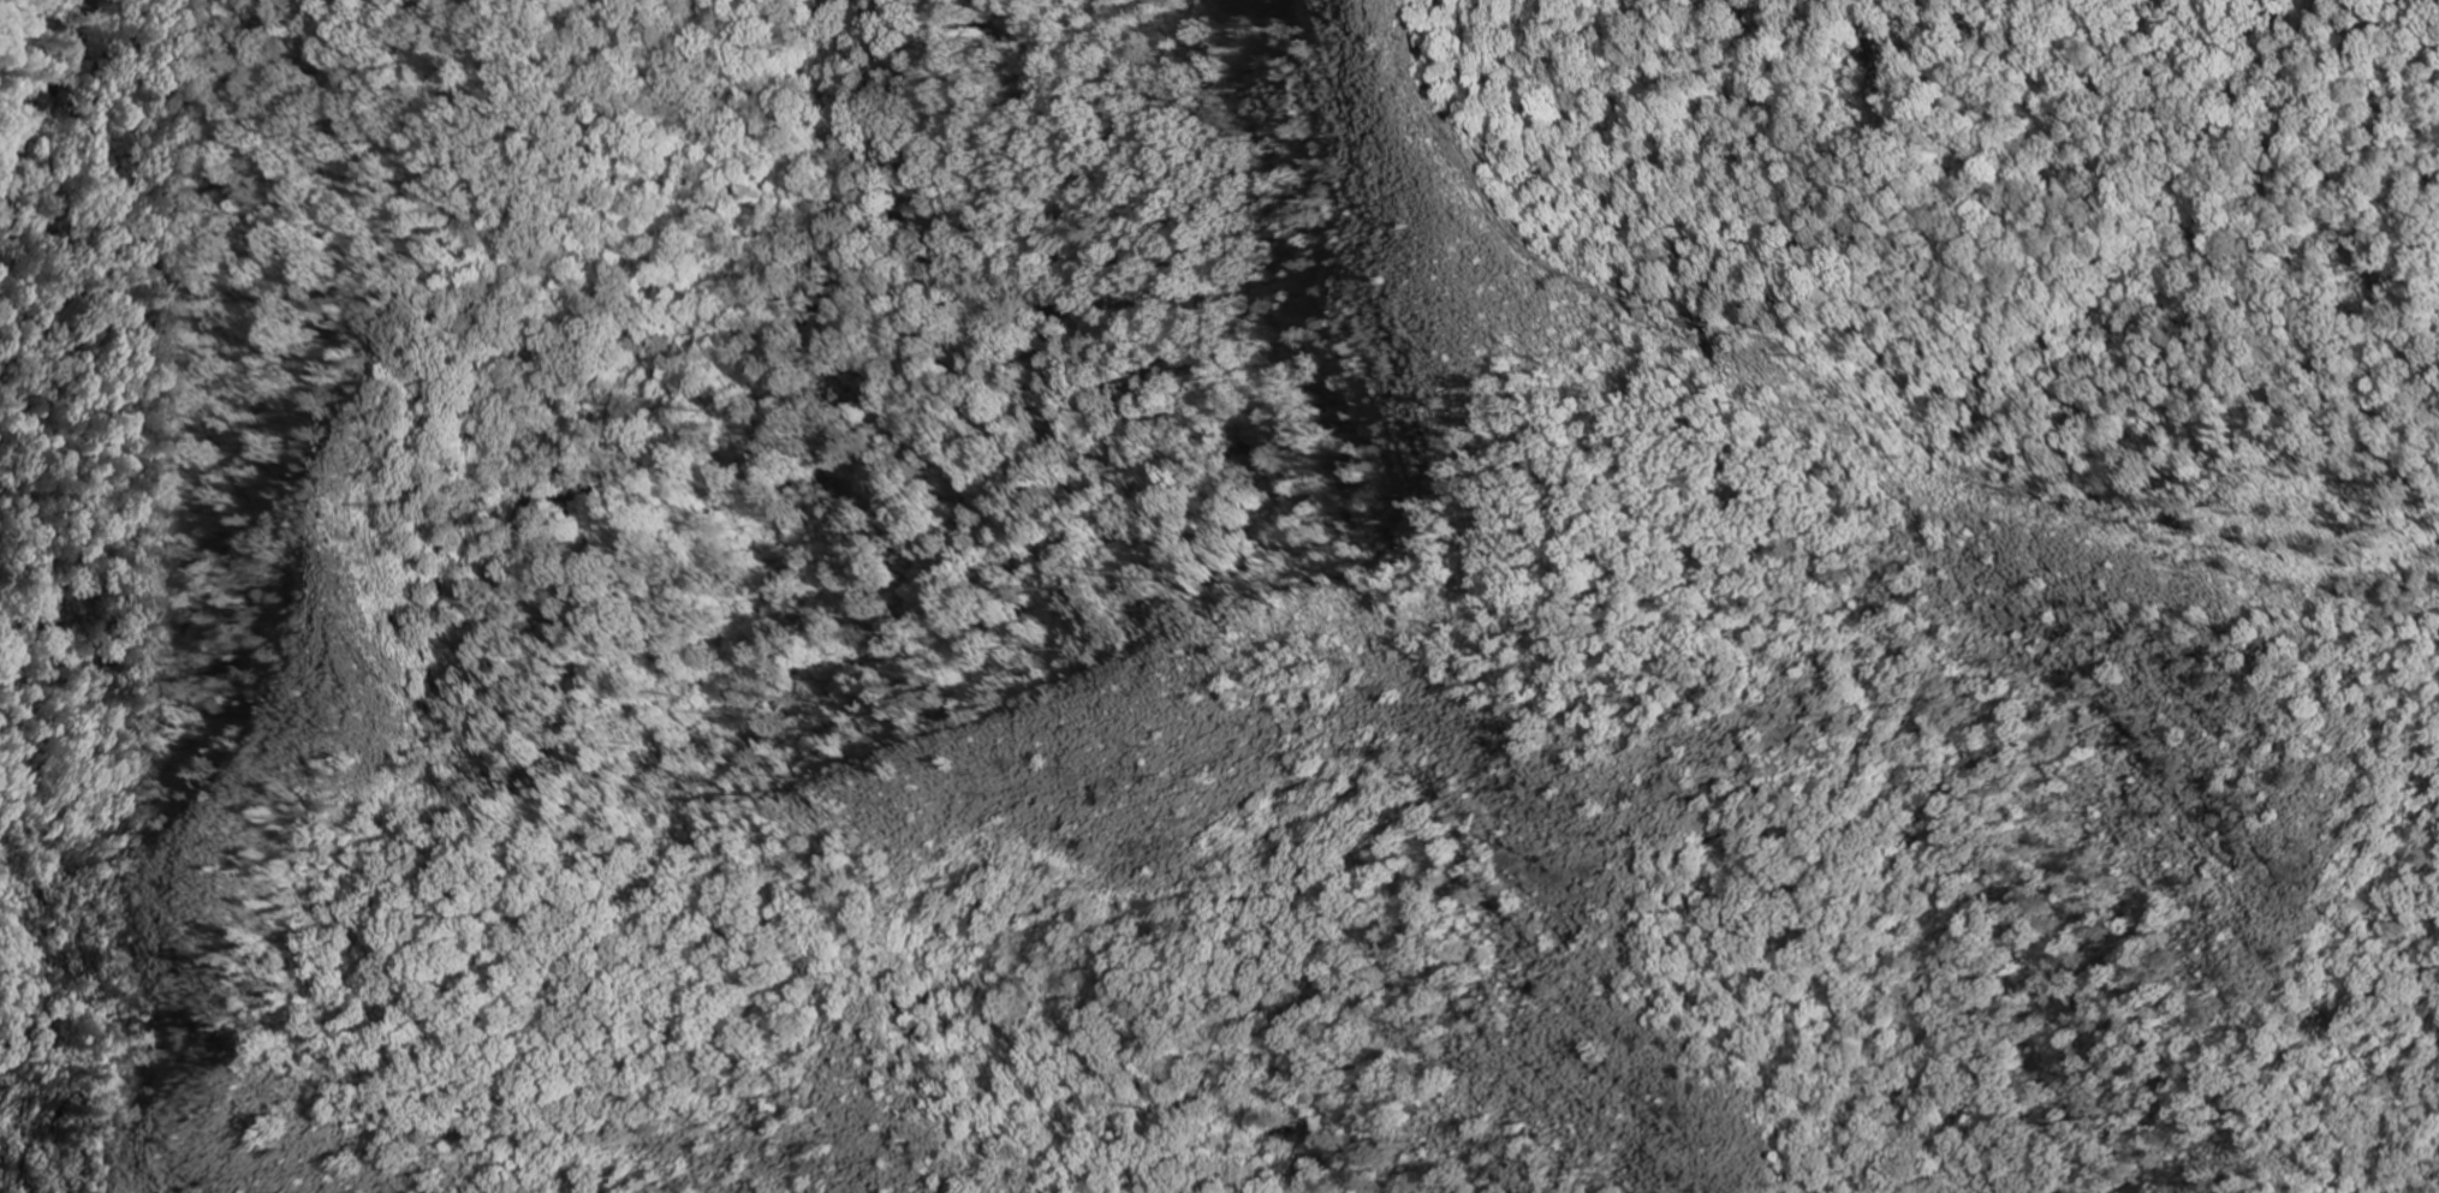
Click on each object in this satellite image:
road: (1471, 270)
road: (1583, 631)
road: (1380, 648)
road: (507, 972)
road: (321, 1070)

